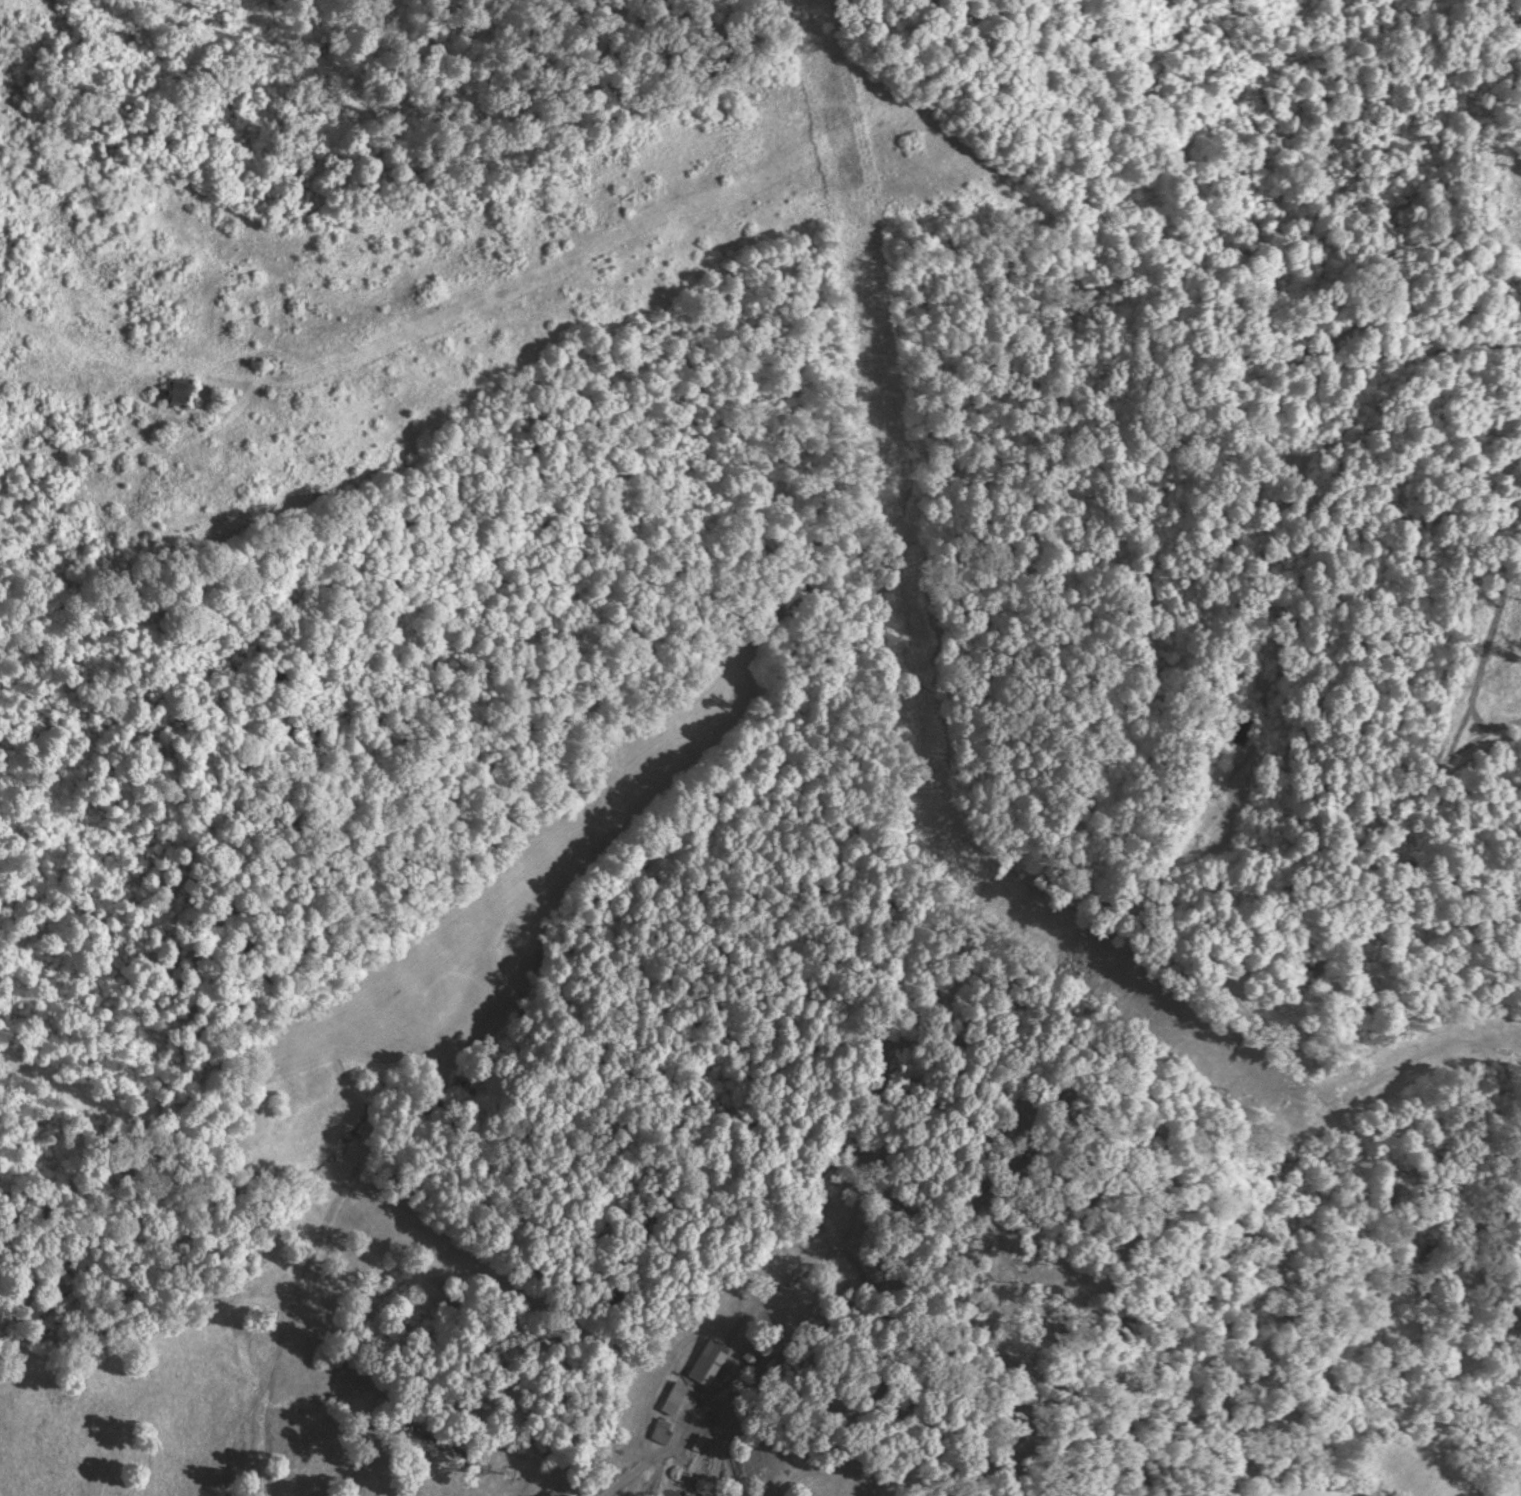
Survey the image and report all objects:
building: (180, 397)
building: (662, 1434)
road: (680, 1466)

